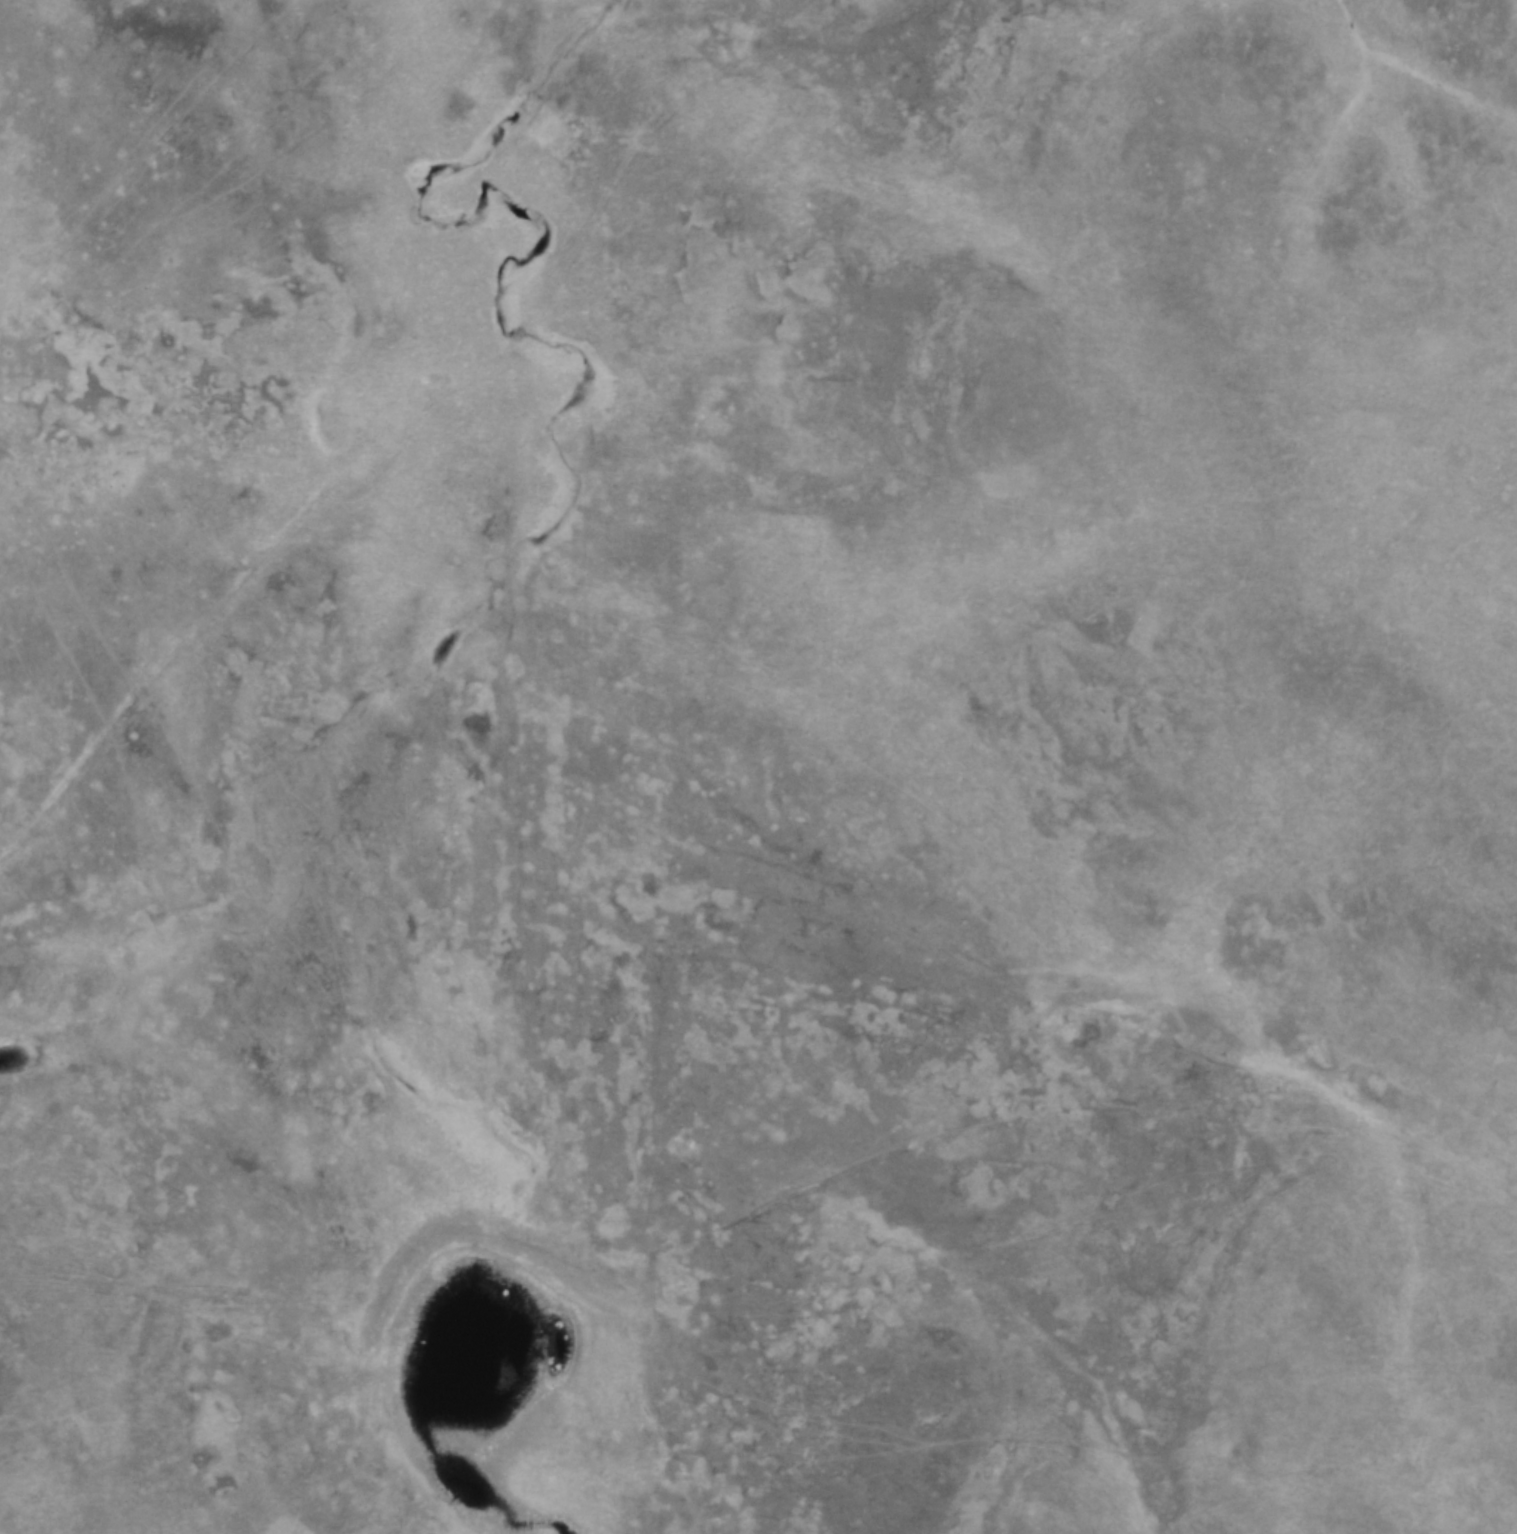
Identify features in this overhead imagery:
dam: (477, 1228)

